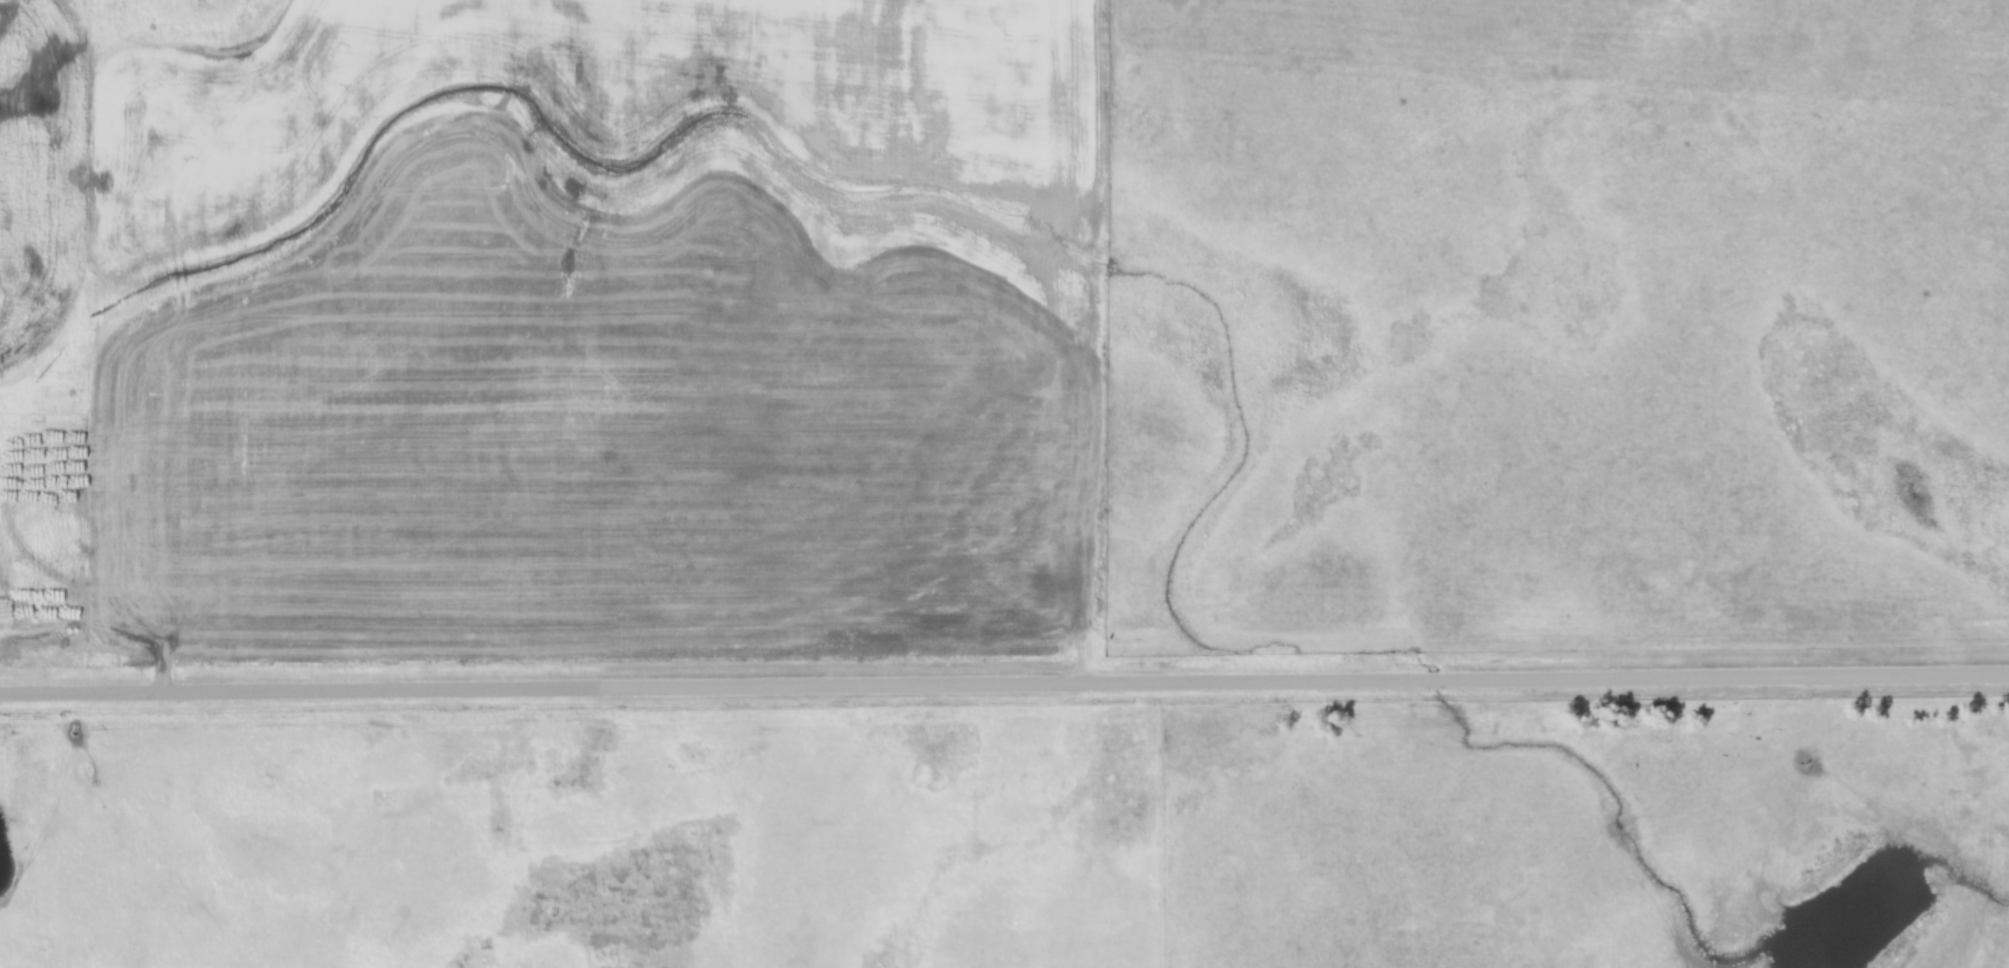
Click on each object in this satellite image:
road: (1004, 685)

